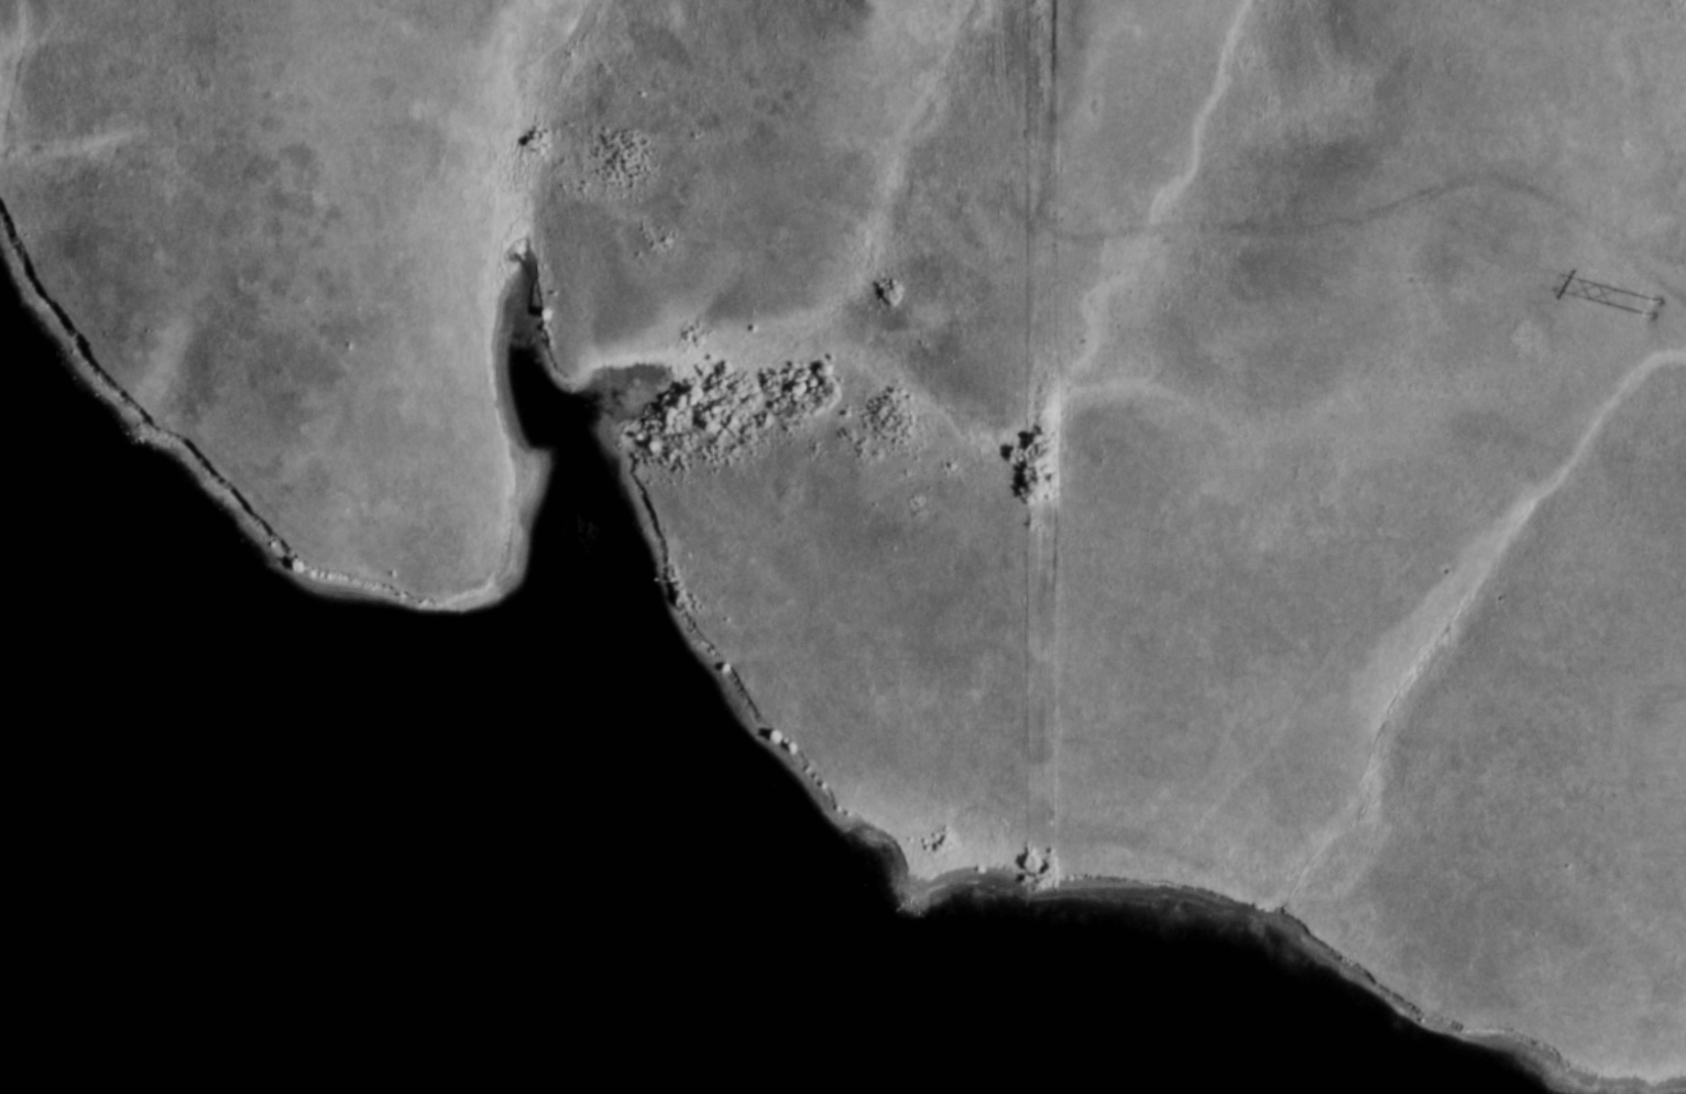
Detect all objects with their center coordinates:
power tower: (1655, 313)

